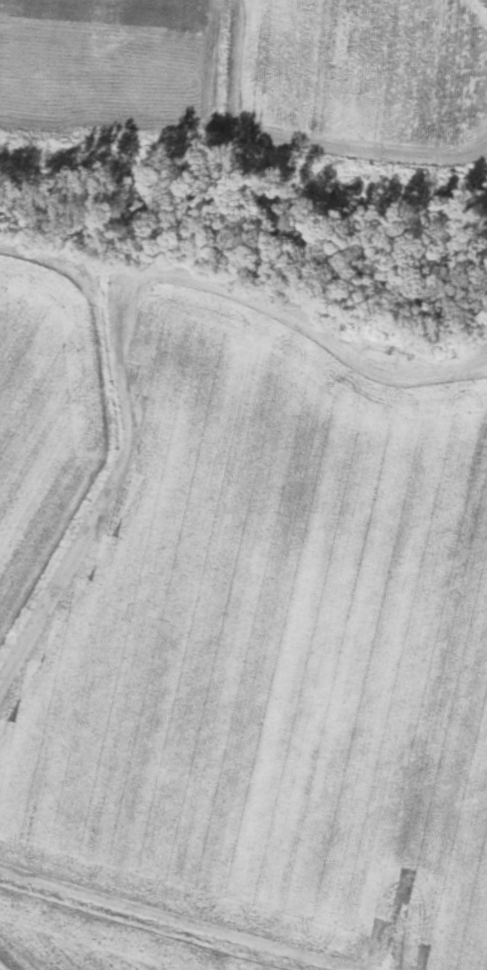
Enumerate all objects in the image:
road: (213, 60)
road: (33, 623)

